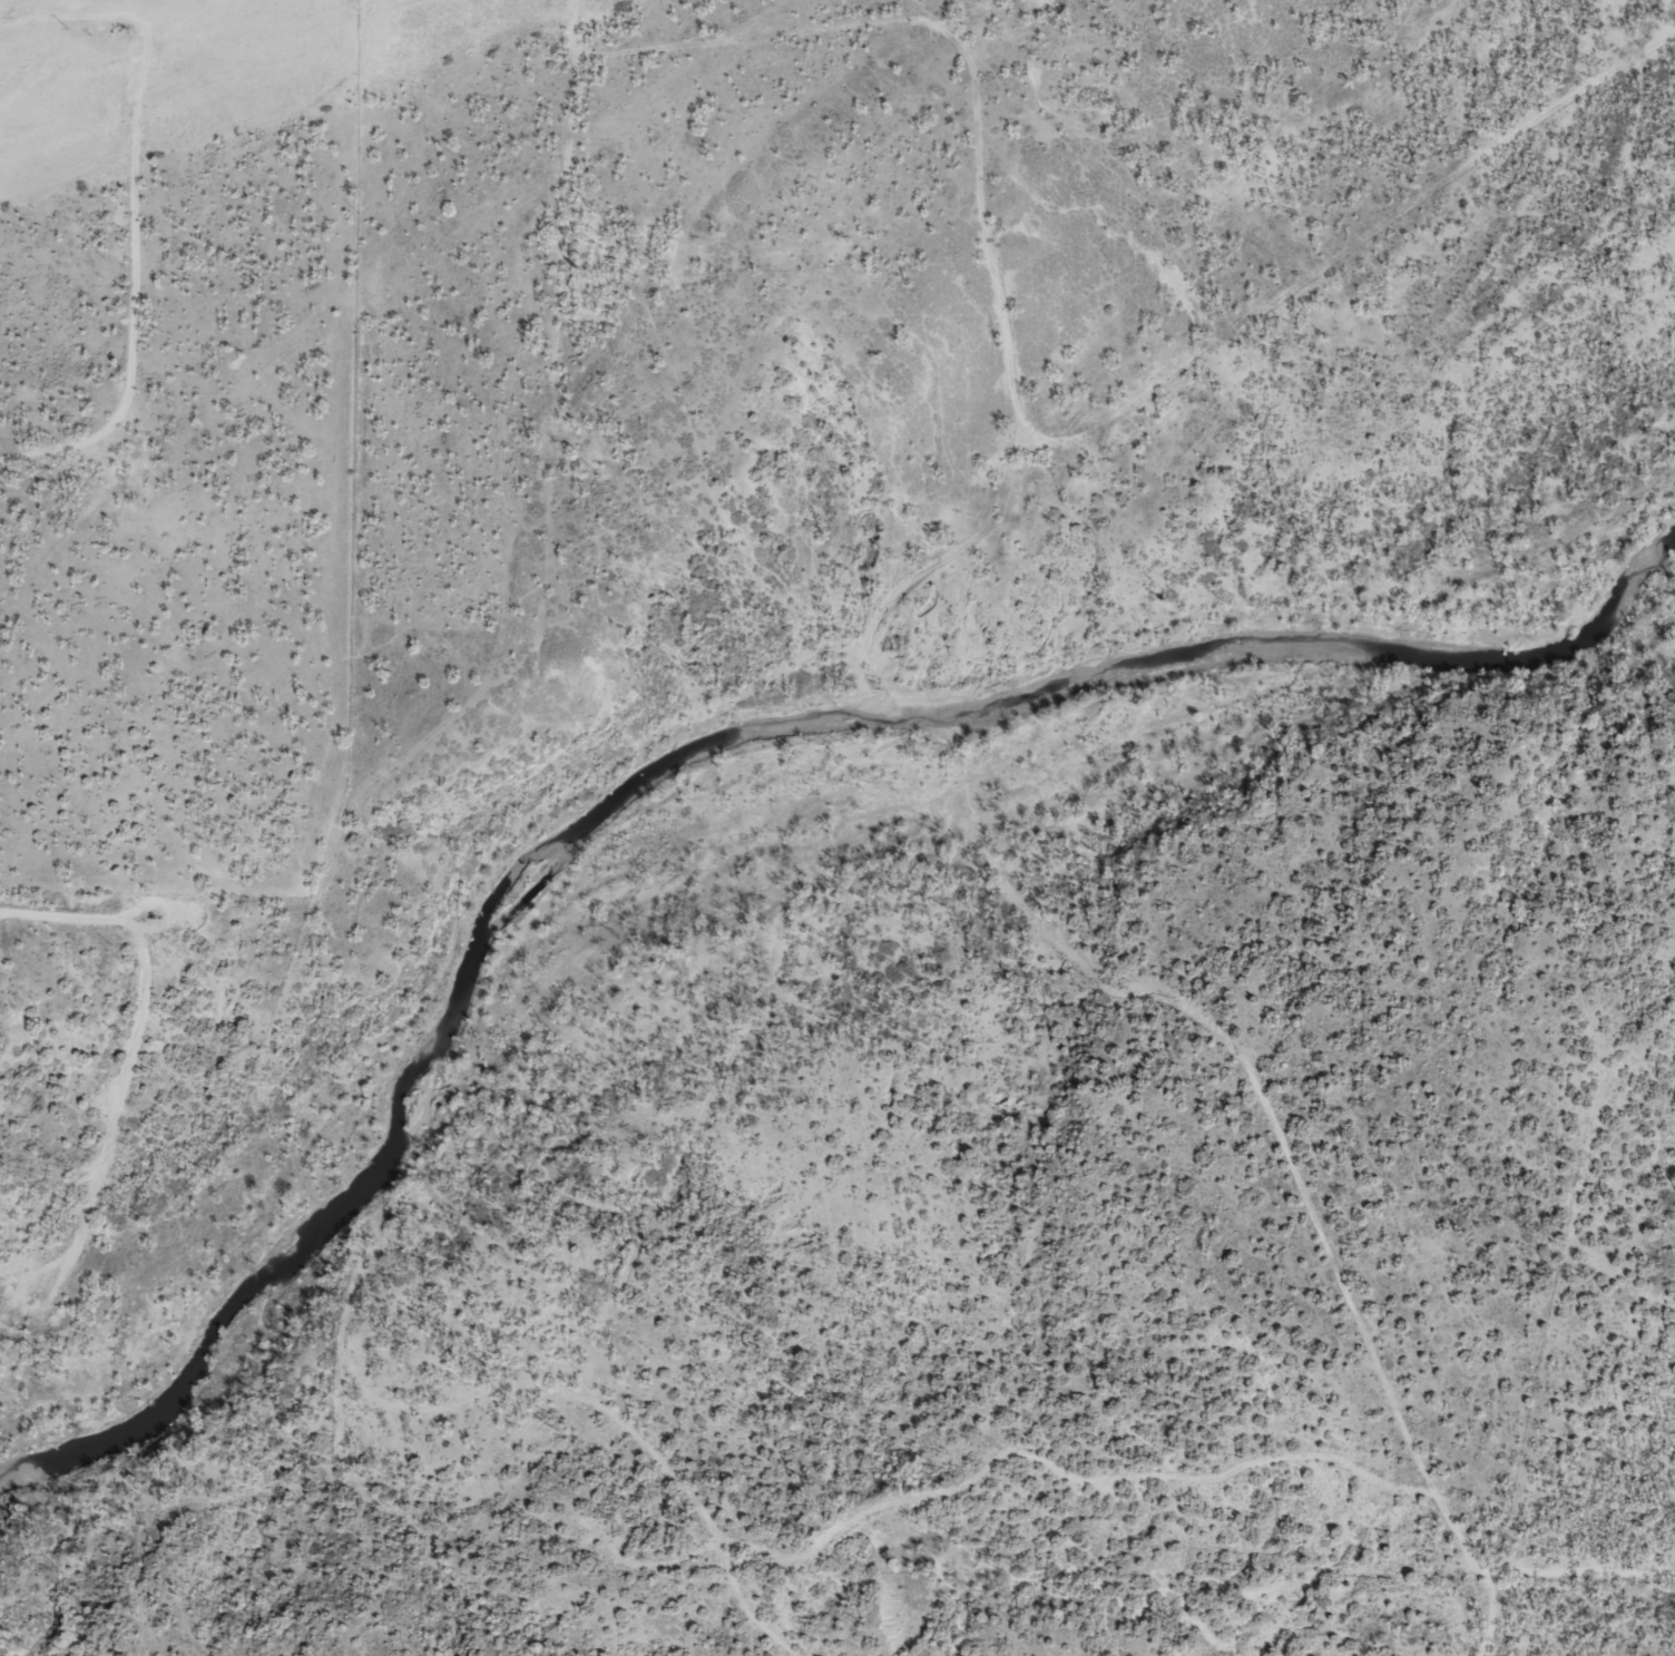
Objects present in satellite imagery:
road: (169, 263)
river: (693, 757)
road: (1578, 1600)

